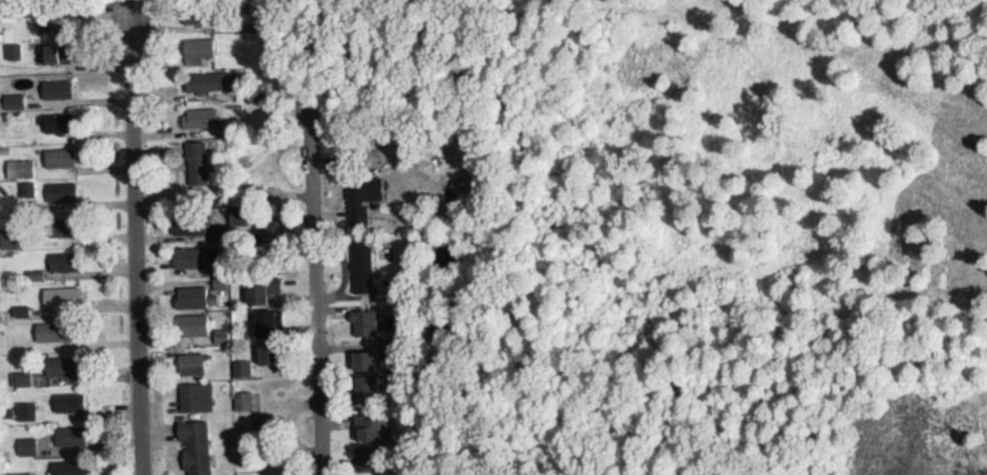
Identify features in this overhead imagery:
building: (195, 44)
building: (53, 47)
building: (205, 73)
building: (54, 81)
road: (303, 100)
building: (200, 110)
building: (56, 116)
building: (59, 151)
building: (194, 155)
building: (22, 161)
building: (58, 189)
building: (63, 220)
road: (135, 237)
building: (188, 250)
building: (62, 254)
building: (259, 286)
building: (55, 289)
building: (189, 289)
road: (310, 298)
building: (359, 315)
building: (189, 317)
building: (53, 324)
building: (218, 328)
building: (362, 354)
building: (190, 357)
building: (61, 359)
building: (239, 361)
building: (360, 382)
building: (193, 389)
building: (241, 394)
building: (66, 395)
building: (363, 421)
building: (68, 428)
building: (192, 442)
building: (363, 451)
building: (66, 462)
building: (16, 470)
building: (377, 473)

